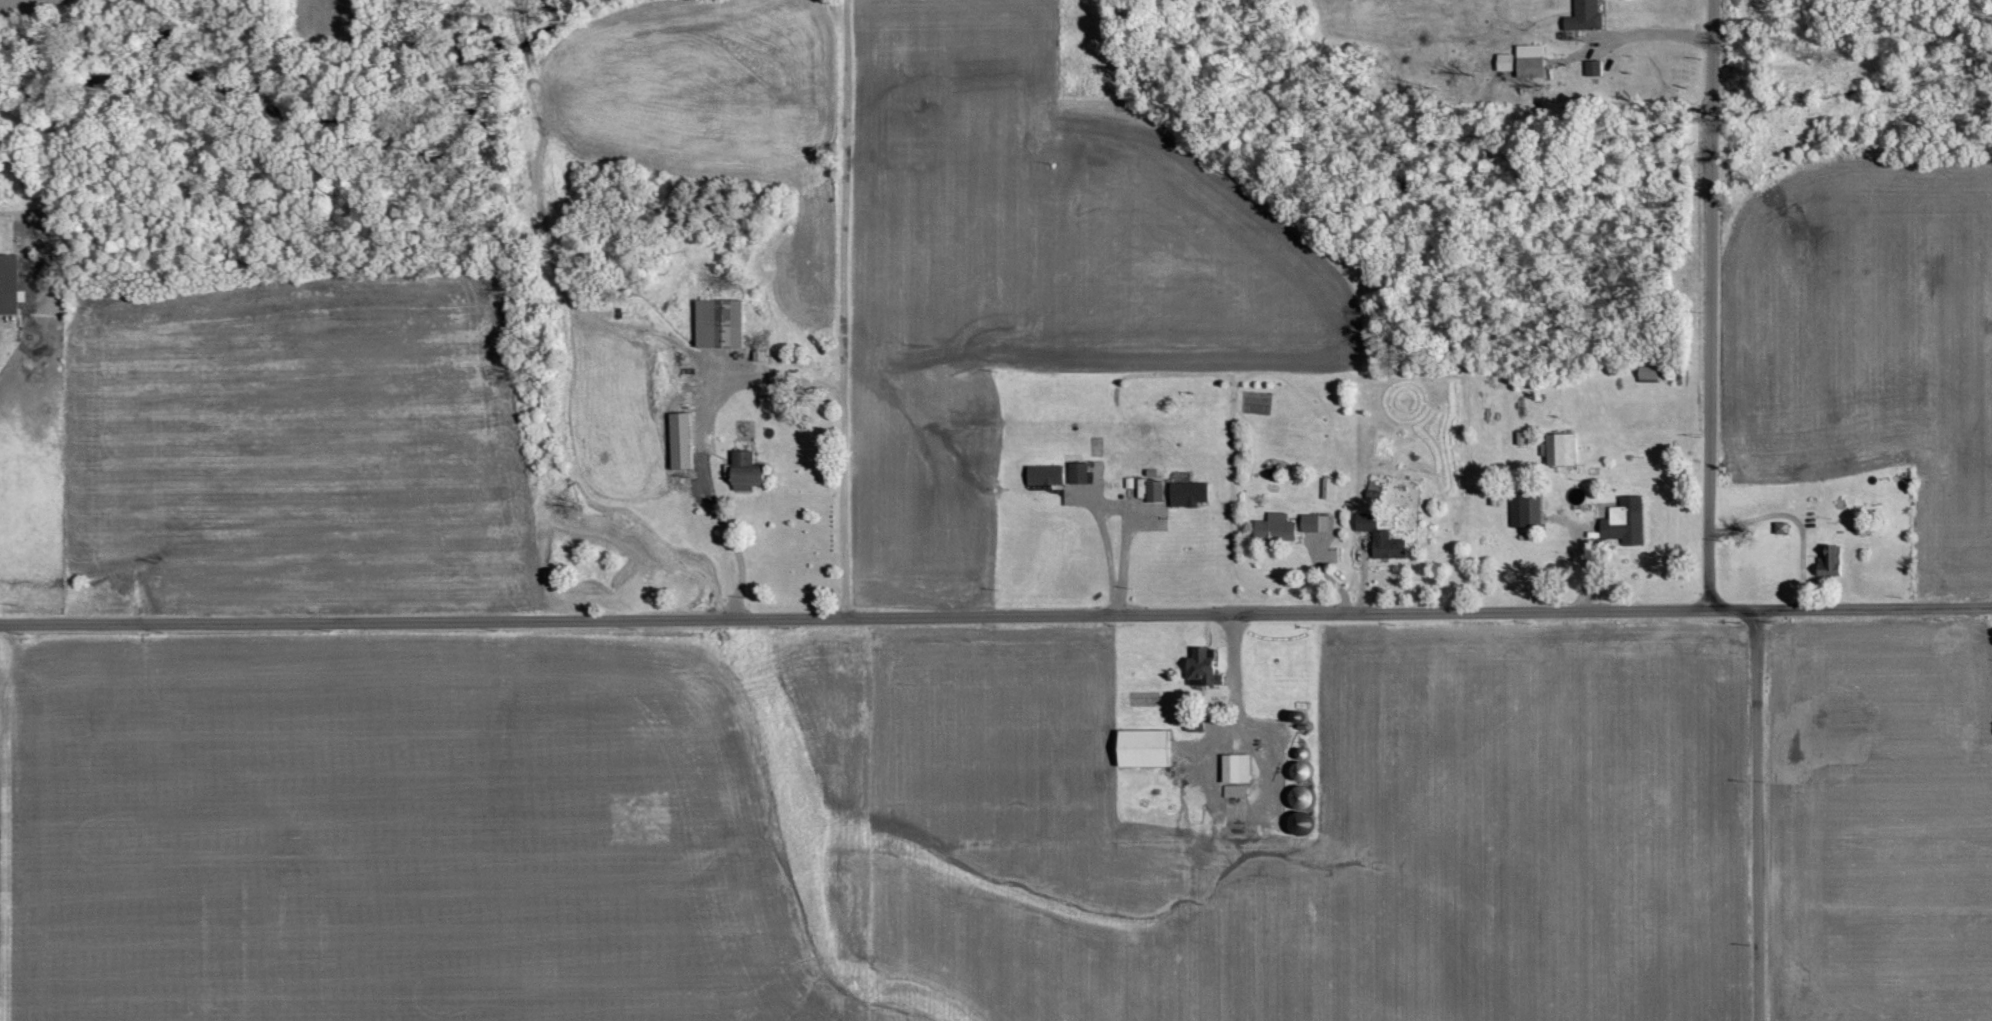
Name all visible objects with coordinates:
building: (1584, 16)
building: (1530, 61)
building: (1505, 62)
building: (1593, 68)
building: (9, 285)
road: (1714, 304)
building: (718, 323)
crop: (1867, 340)
building: (680, 441)
building: (1559, 449)
building: (744, 471)
building: (1077, 473)
building: (1044, 475)
building: (1154, 492)
building: (1188, 494)
building: (1525, 511)
building: (1625, 522)
building: (1315, 523)
building: (1782, 527)
building: (1274, 529)
building: (1381, 539)
building: (1830, 563)
road: (996, 614)
building: (1203, 669)
building: (1143, 749)
building: (1236, 769)
building: (1235, 792)
road: (1757, 814)

